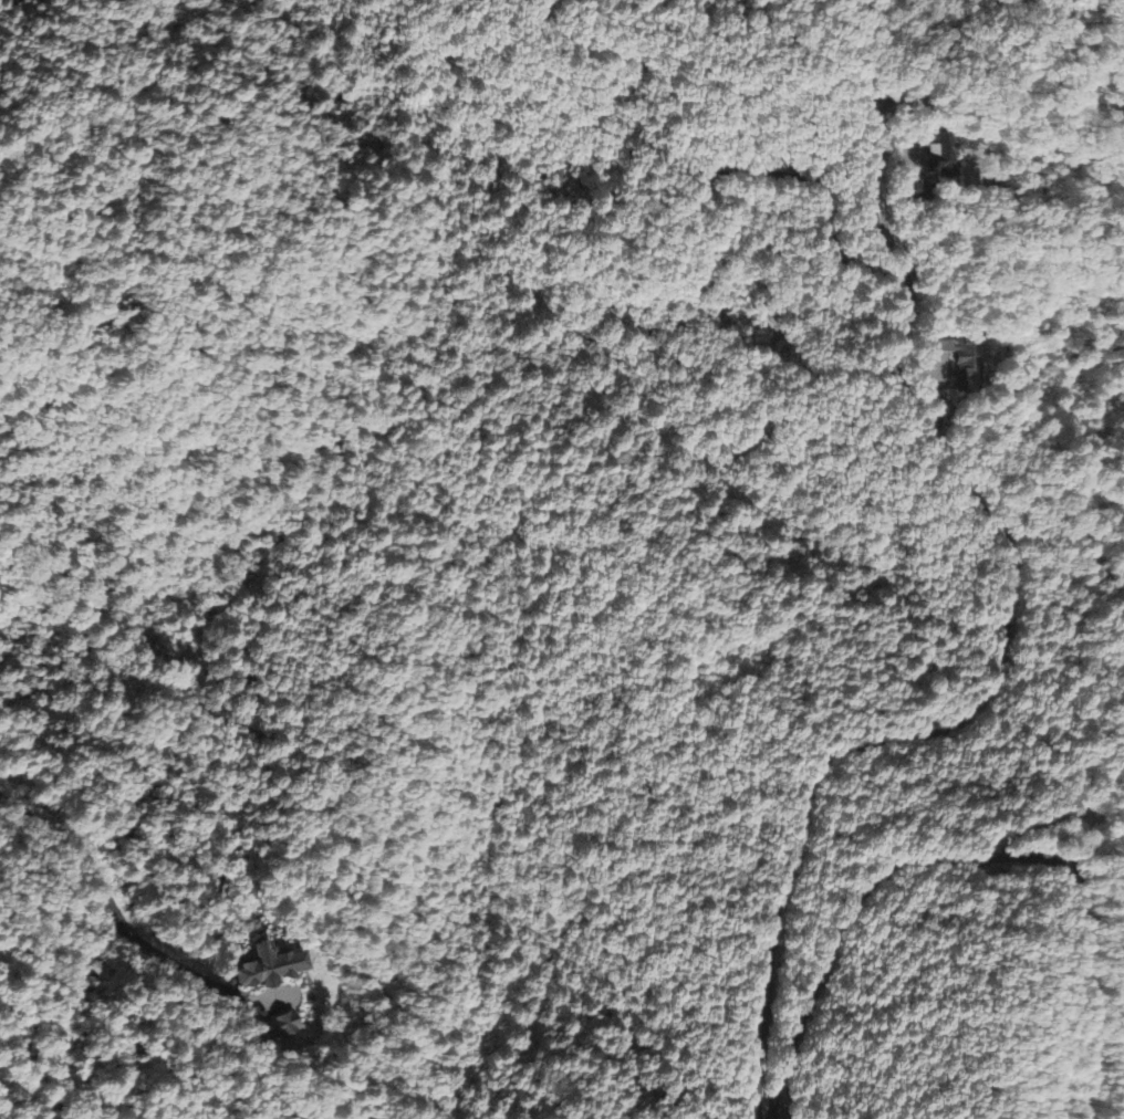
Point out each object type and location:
road: (1002, 651)
road: (962, 855)
building: (280, 969)
road: (46, 1080)

